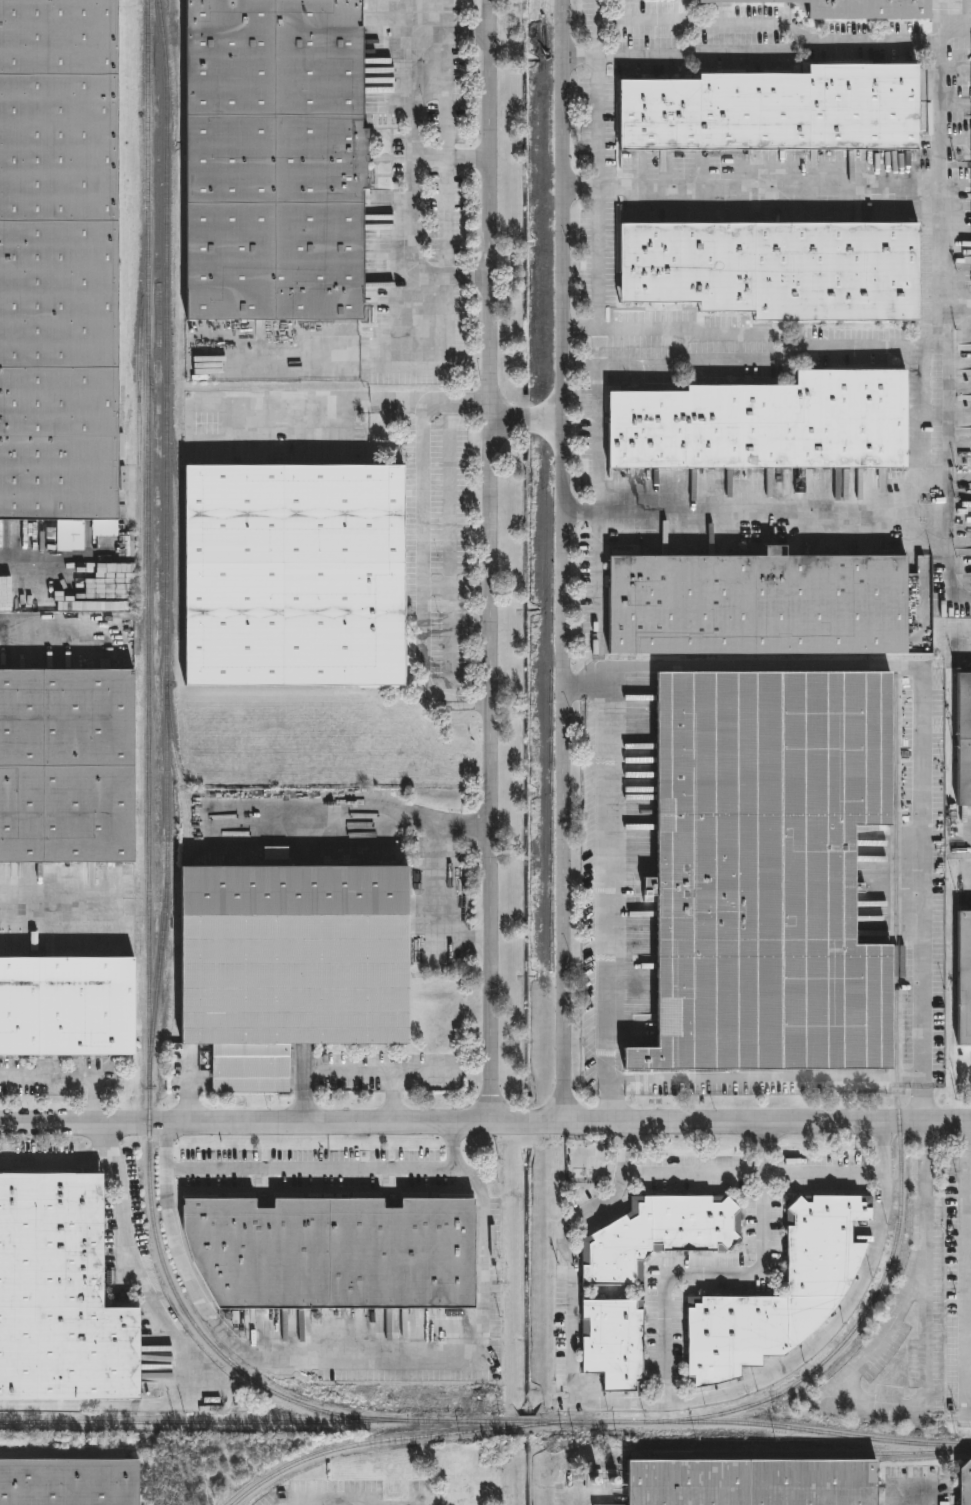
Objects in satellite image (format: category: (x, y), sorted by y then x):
building: (859, 9)
road: (700, 22)
road: (956, 27)
road: (753, 50)
road: (414, 105)
building: (778, 111)
road: (599, 121)
building: (278, 159)
road: (754, 186)
road: (413, 254)
road: (606, 258)
building: (60, 259)
building: (778, 268)
road: (958, 303)
road: (945, 310)
road: (680, 334)
road: (867, 347)
road: (682, 362)
road: (397, 403)
building: (769, 424)
railway: (139, 433)
railway: (178, 511)
road: (758, 511)
railway: (166, 527)
road: (495, 560)
road: (569, 560)
road: (37, 565)
building: (298, 575)
road: (423, 583)
building: (762, 606)
road: (967, 638)
road: (921, 702)
building: (961, 740)
building: (68, 767)
railway: (148, 787)
road: (967, 856)
building: (763, 871)
road: (607, 885)
road: (60, 903)
building: (295, 966)
building: (961, 979)
building: (69, 1007)
road: (68, 1077)
road: (786, 1078)
railway: (898, 1110)
road: (485, 1121)
road: (52, 1159)
road: (313, 1166)
road: (823, 1174)
road: (694, 1175)
building: (654, 1235)
building: (337, 1252)
building: (811, 1292)
building: (62, 1294)
road: (969, 1307)
road: (841, 1313)
building: (609, 1342)
road: (193, 1361)
road: (353, 1363)
road: (924, 1400)
road: (654, 1404)
railway: (78, 1420)
railway: (564, 1421)
railway: (389, 1438)
building: (71, 1481)
building: (747, 1482)
building: (963, 1483)
road: (574, 1501)

